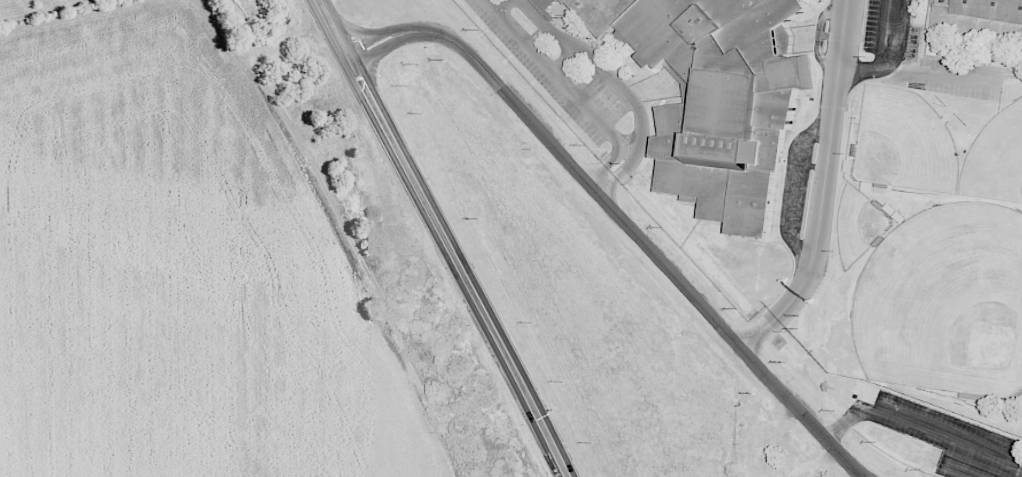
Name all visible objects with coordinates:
building: (569, 0)
road: (504, 5)
building: (547, 7)
building: (976, 11)
road: (819, 33)
parking lot: (888, 33)
road: (883, 34)
road: (892, 56)
road: (562, 59)
road: (1013, 72)
parking lot: (555, 75)
road: (558, 78)
road: (941, 78)
road: (617, 86)
parking lot: (941, 87)
building: (719, 96)
park: (903, 141)
park: (996, 156)
road: (605, 166)
road: (794, 186)
road: (821, 186)
road: (619, 217)
park: (859, 223)
road: (442, 237)
crop: (179, 269)
park: (945, 301)
road: (918, 421)
road: (956, 460)

